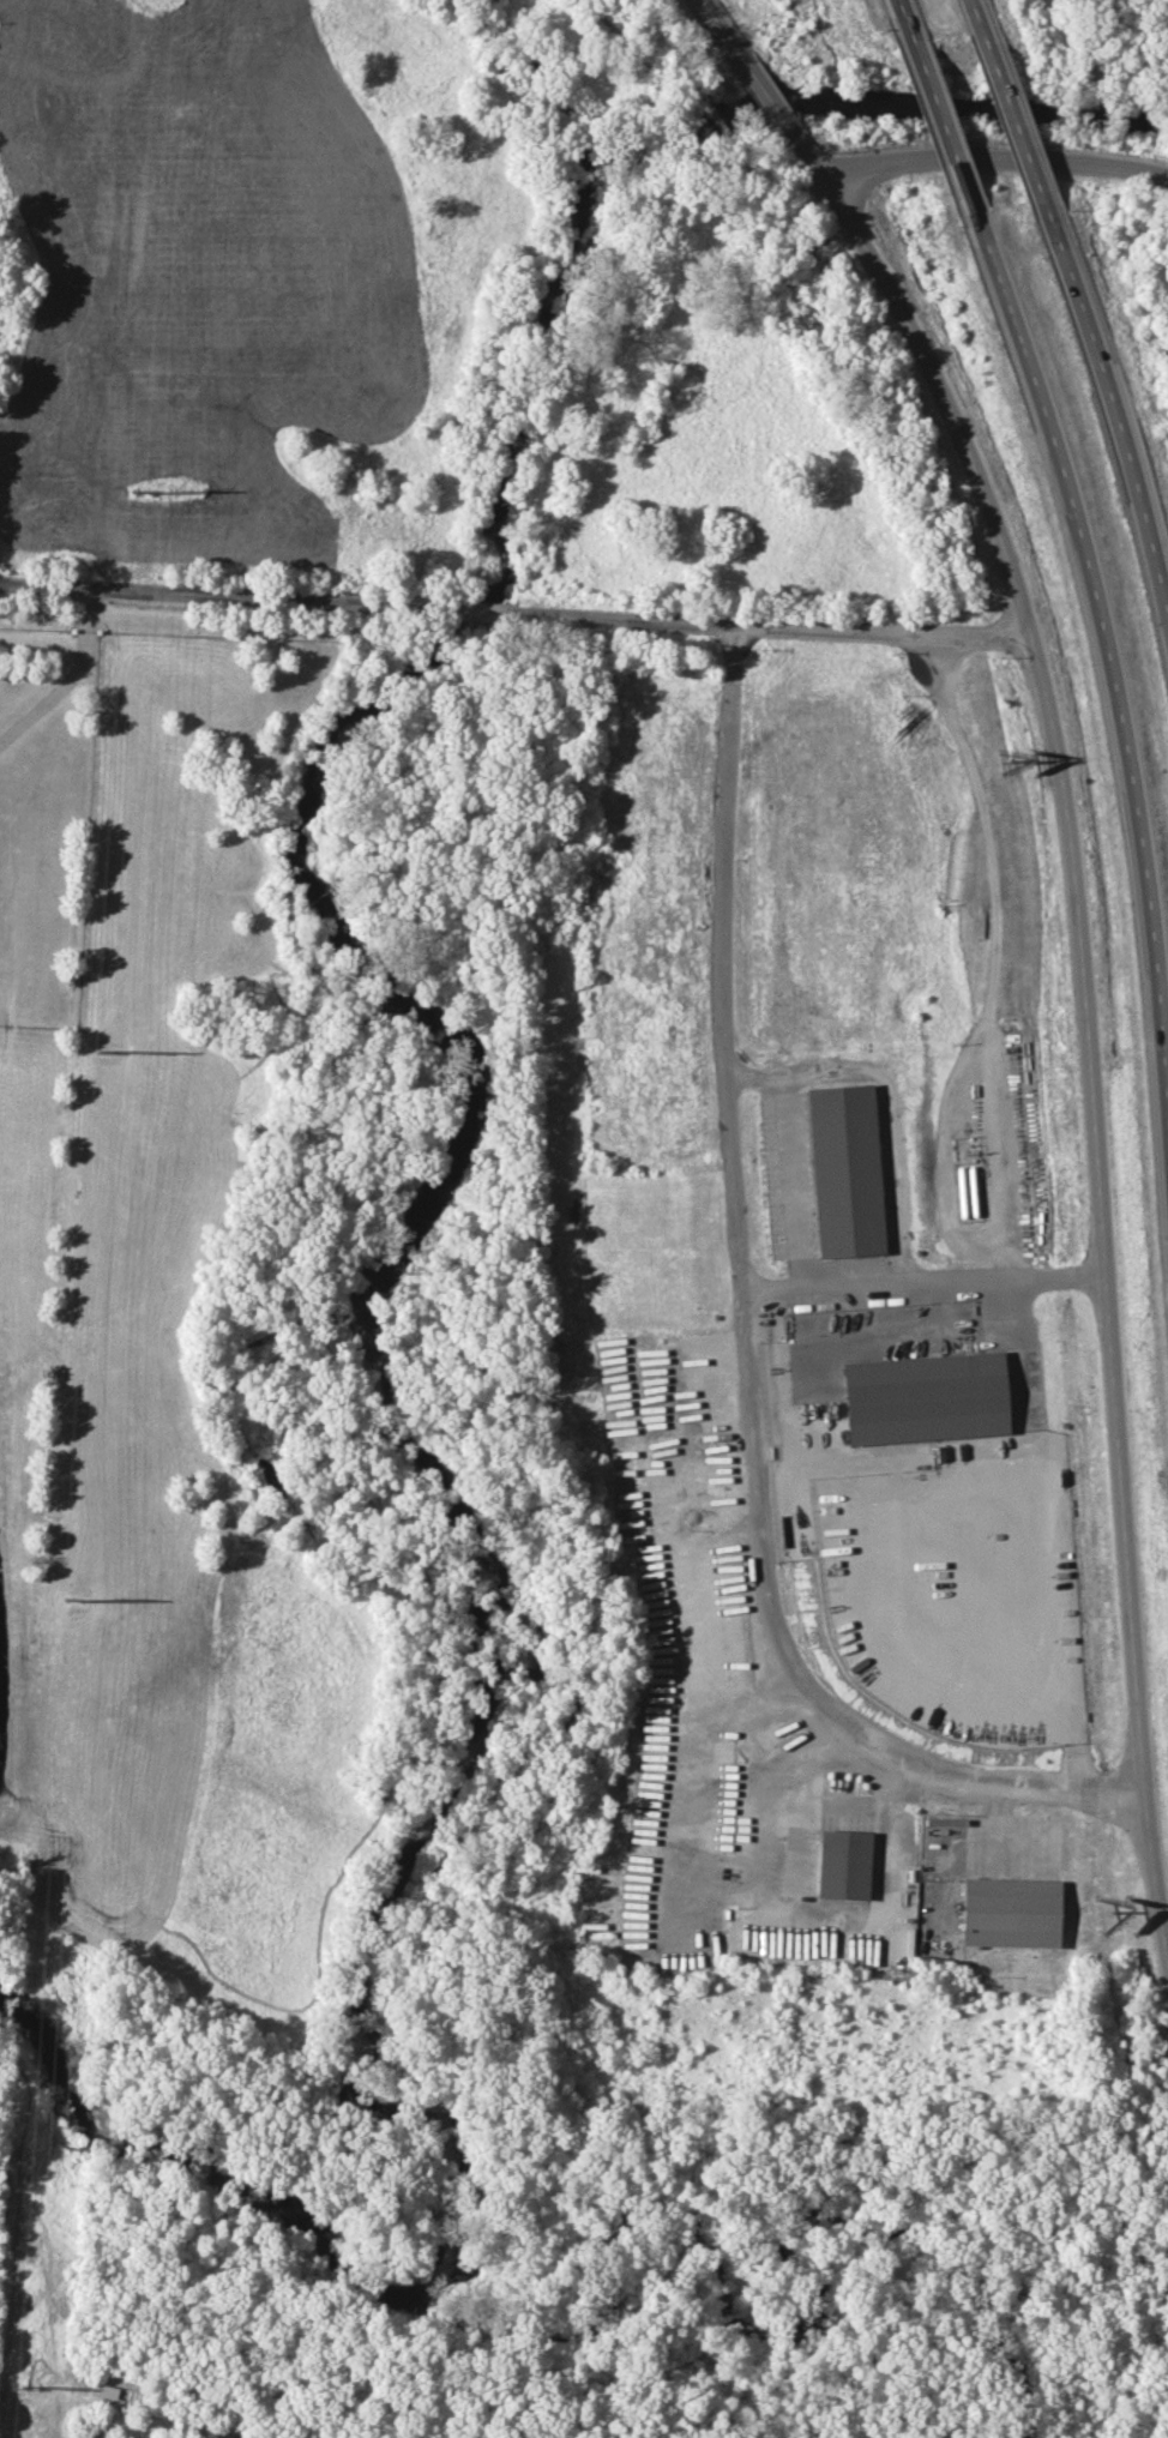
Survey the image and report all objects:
road: (969, 1)
road: (893, 2)
road: (723, 29)
road: (767, 98)
road: (1010, 114)
road: (939, 121)
road: (994, 157)
road: (935, 375)
road: (1114, 408)
power tower: (147, 493)
road: (514, 613)
road: (1106, 631)
road: (68, 676)
road: (995, 945)
power tower: (119, 1047)
road: (883, 1090)
road: (943, 1157)
building: (844, 1170)
road: (919, 1269)
road: (1101, 1314)
road: (874, 1323)
road: (743, 1340)
building: (925, 1397)
power tower: (90, 1597)
building: (843, 1864)
building: (1010, 1912)
power tower: (43, 2386)

